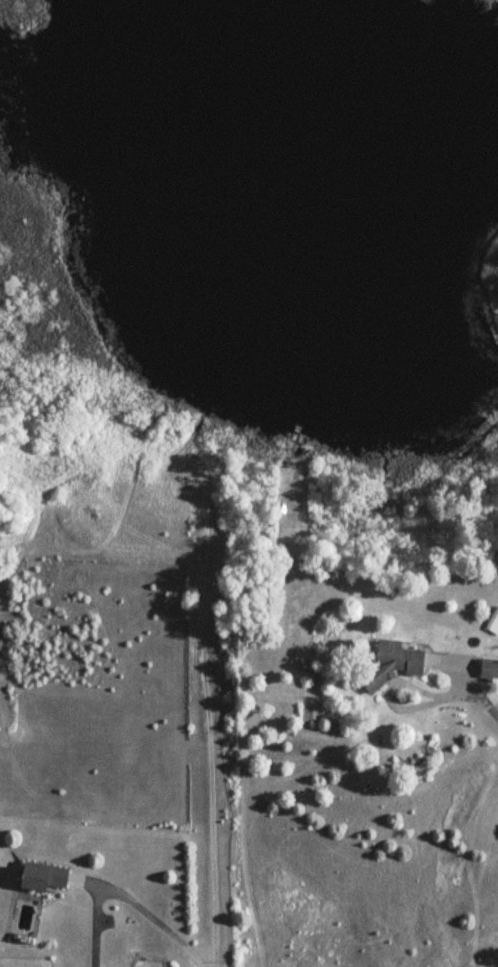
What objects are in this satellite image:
road: (162, 554)
road: (451, 661)
building: (392, 663)
building: (489, 668)
road: (466, 688)
road: (392, 704)
road: (493, 711)
road: (210, 762)
building: (41, 876)
road: (152, 919)

